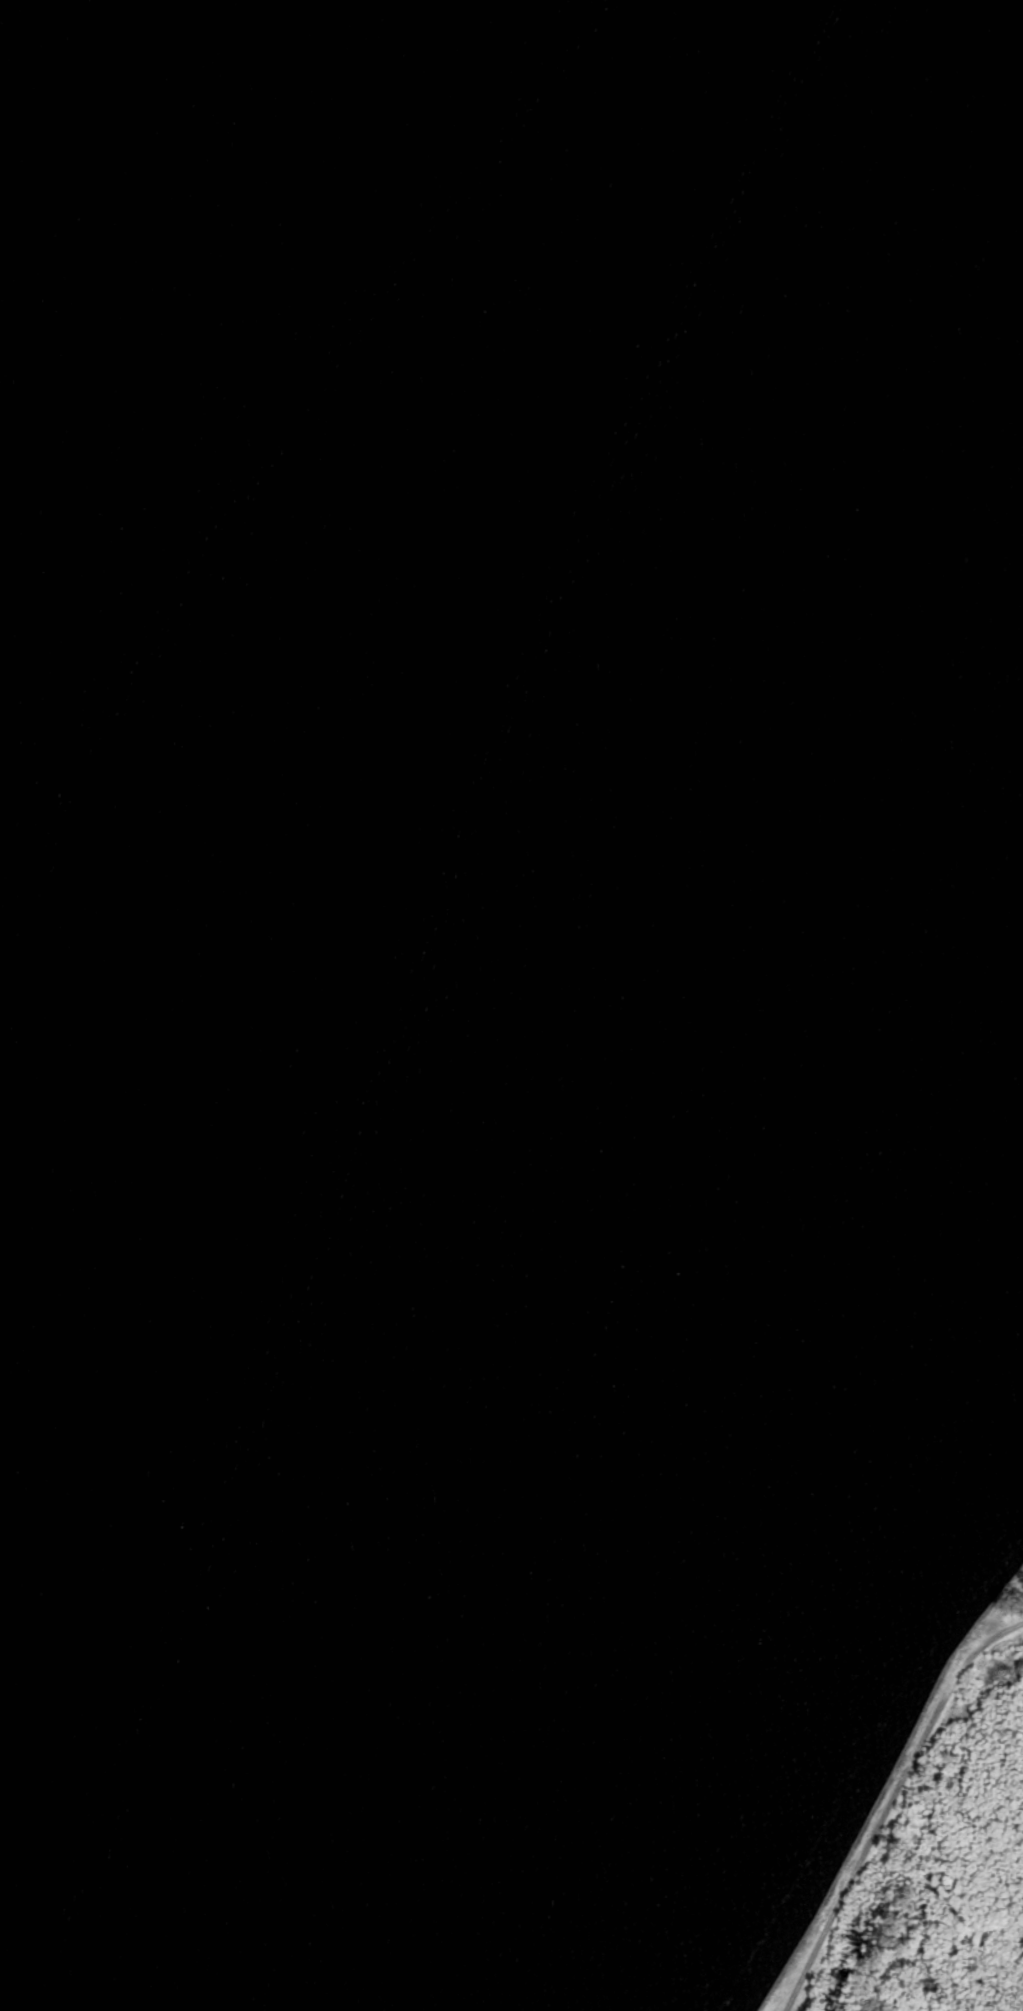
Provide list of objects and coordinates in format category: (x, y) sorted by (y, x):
road: (890, 1804)

